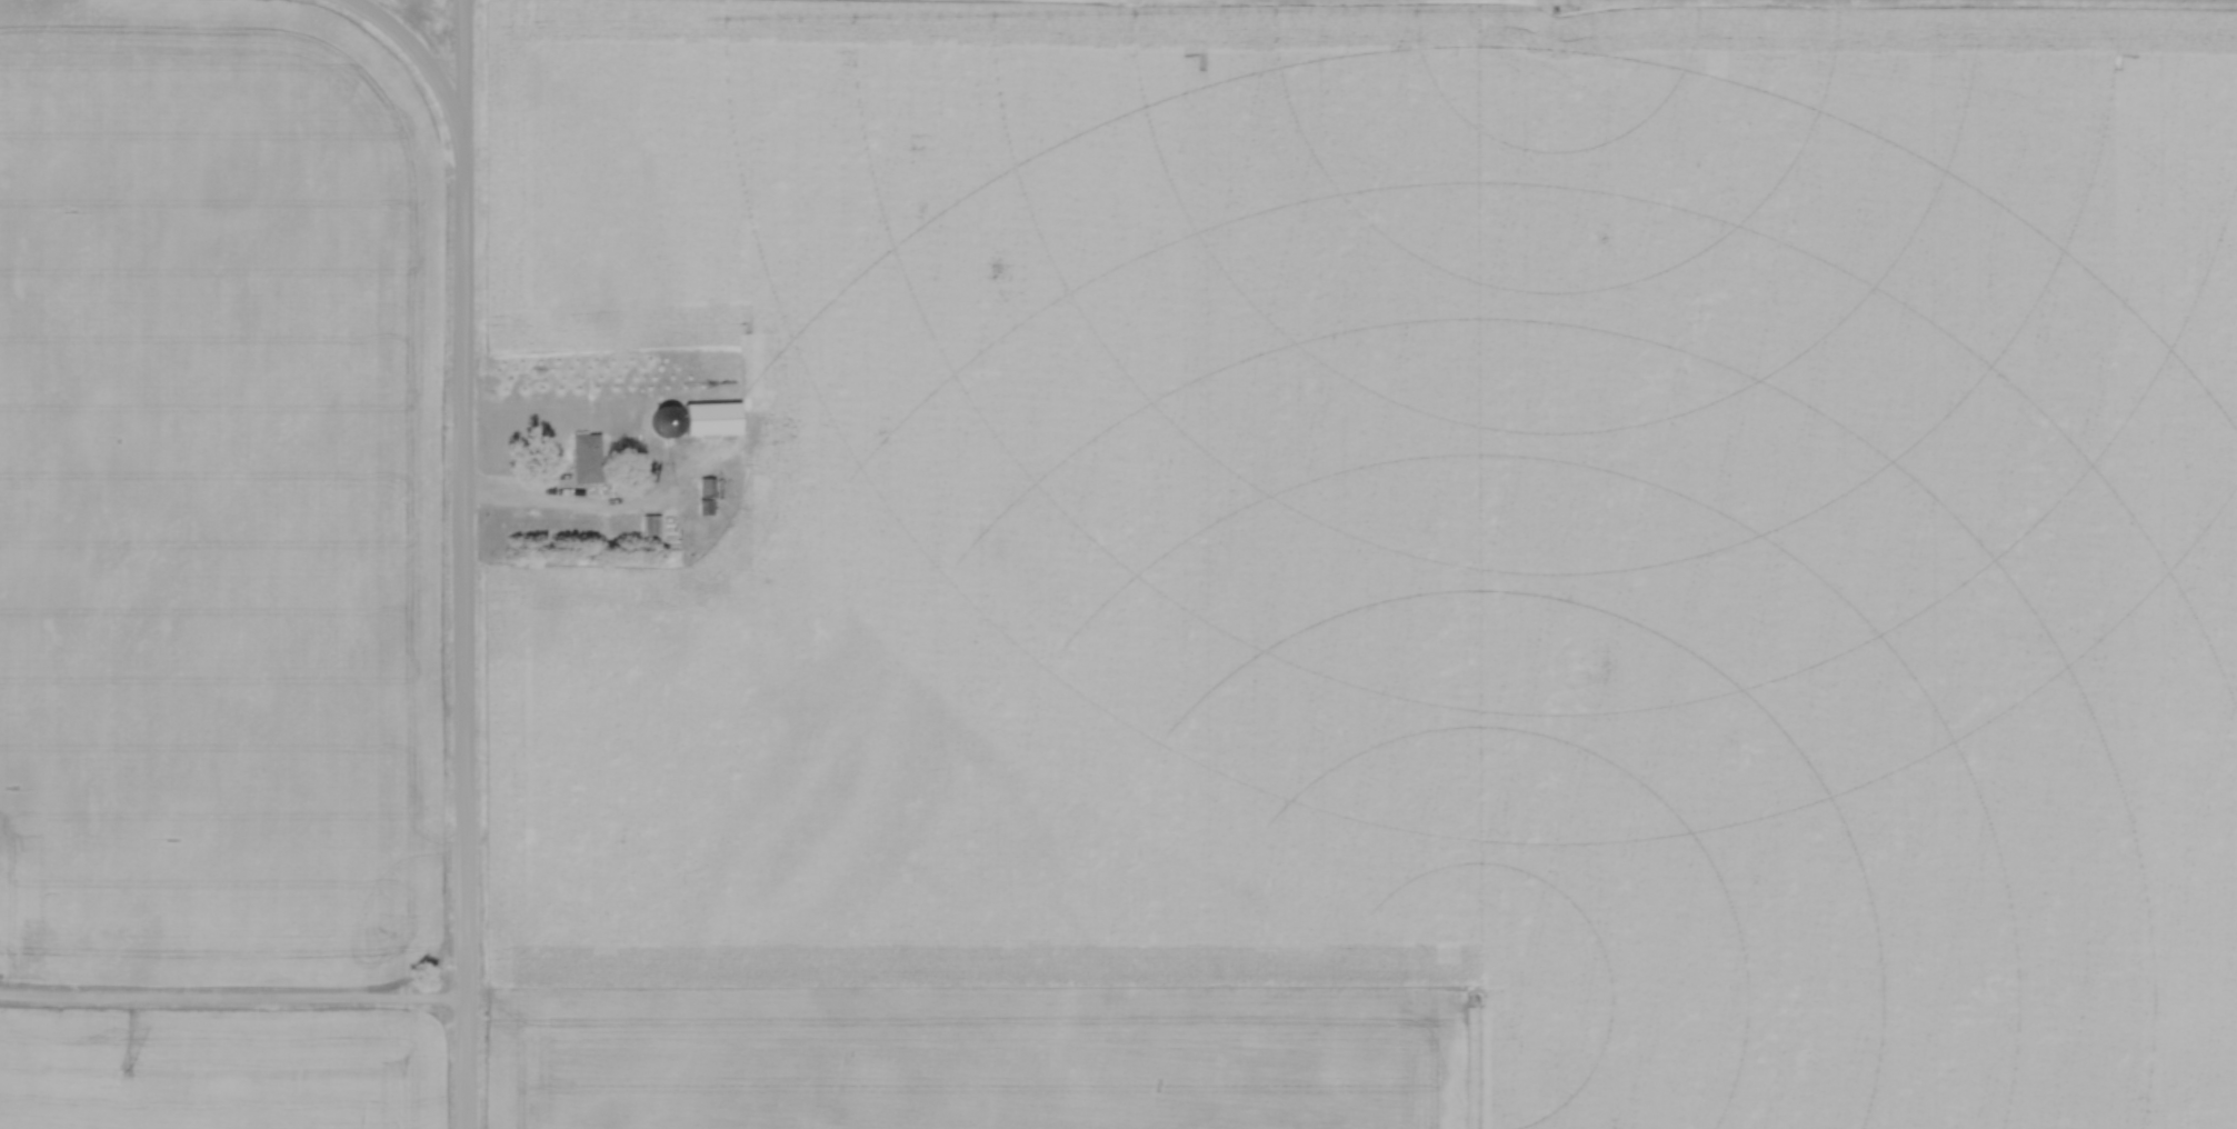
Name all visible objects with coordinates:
road: (1996, 2)
road: (416, 56)
road: (461, 66)
building: (705, 421)
building: (588, 472)
building: (709, 497)
road: (590, 512)
building: (655, 527)
road: (462, 630)
road: (232, 1005)

